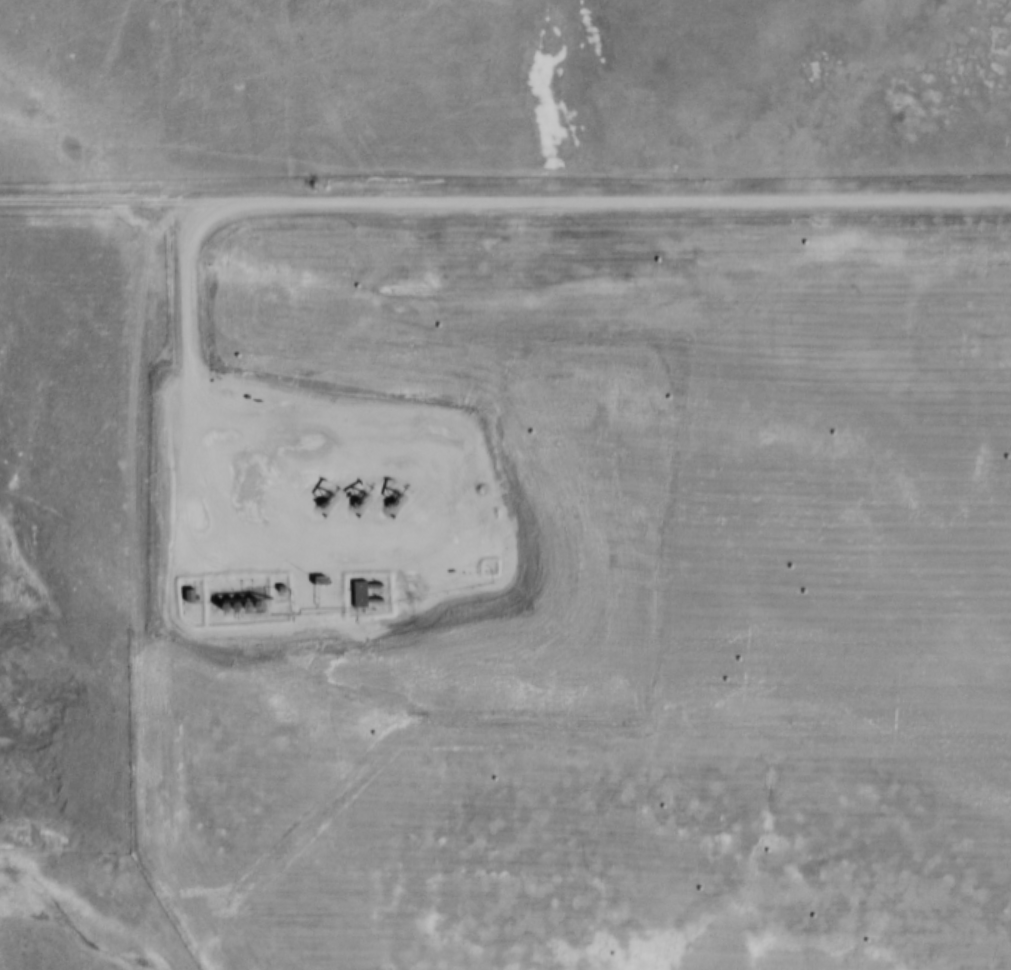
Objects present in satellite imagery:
road: (622, 196)
road: (116, 201)
road: (191, 364)

